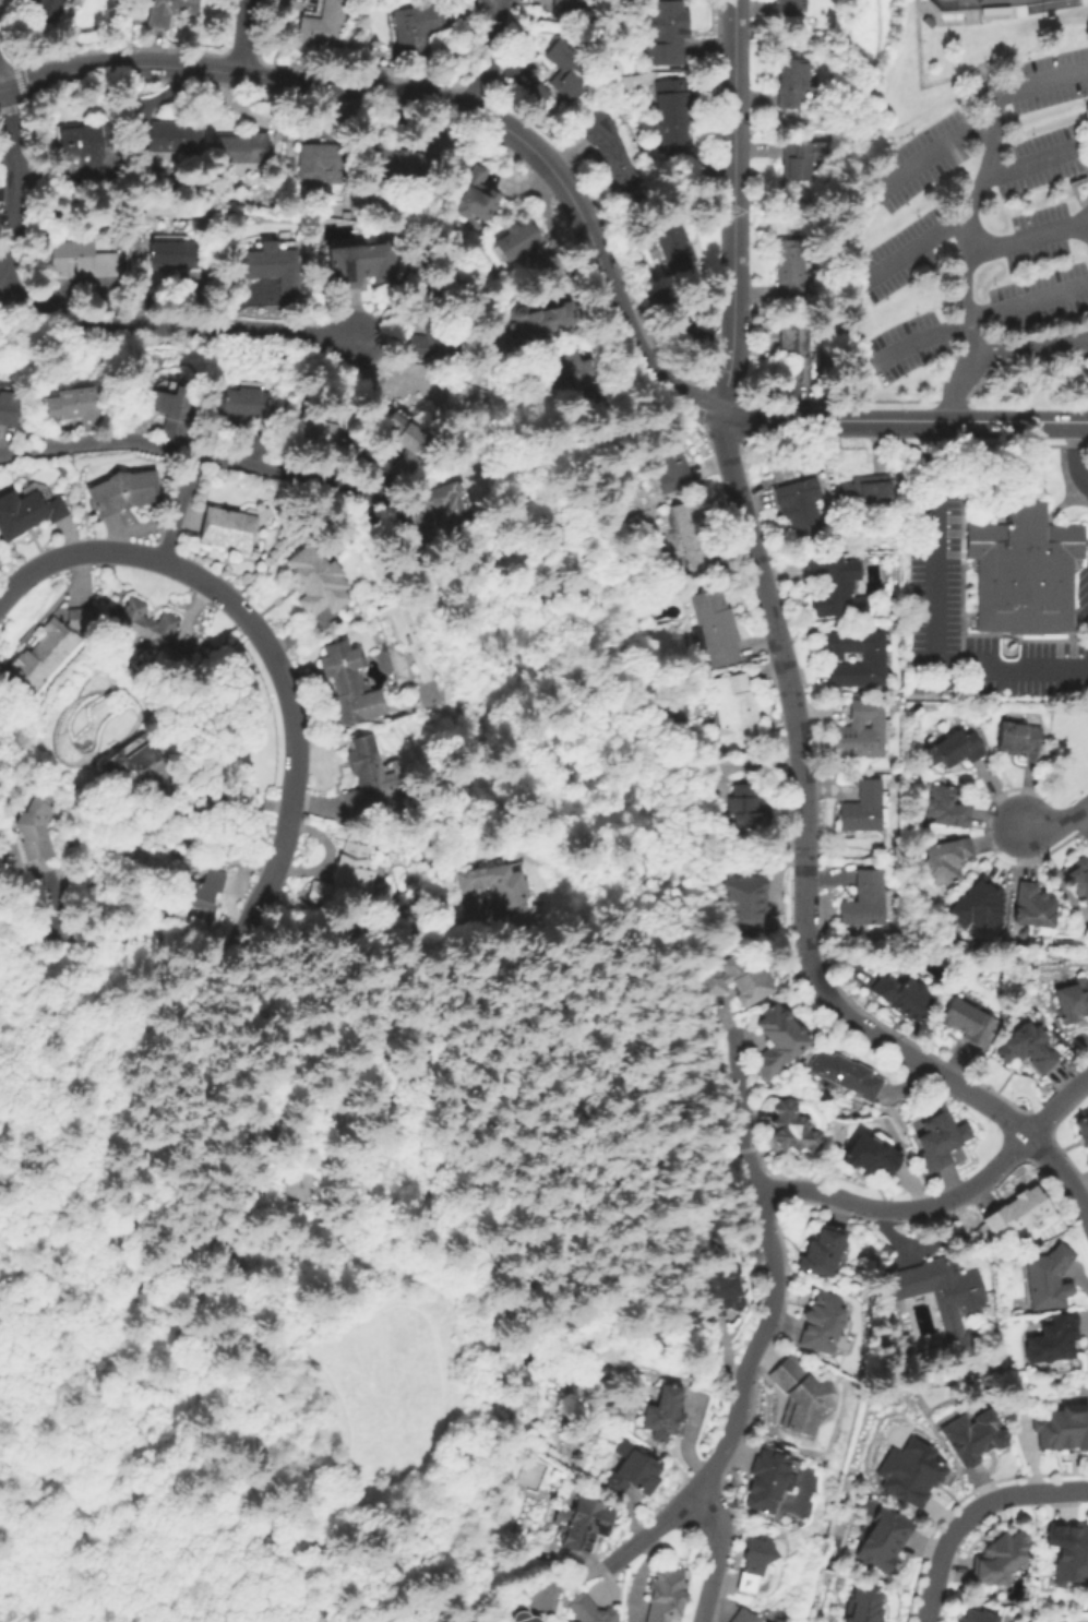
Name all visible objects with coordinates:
building: (571, 2)
park: (983, 3)
building: (51, 8)
building: (788, 8)
building: (170, 11)
building: (997, 12)
building: (325, 24)
building: (417, 26)
building: (670, 33)
road: (239, 36)
road: (486, 56)
building: (569, 71)
building: (794, 82)
road: (1039, 84)
building: (537, 95)
building: (673, 110)
building: (294, 132)
road: (1075, 133)
building: (169, 140)
building: (243, 150)
building: (84, 151)
building: (608, 153)
road: (934, 154)
road: (536, 155)
building: (802, 160)
road: (1031, 160)
building: (322, 163)
building: (404, 166)
road: (20, 182)
road: (1073, 191)
building: (475, 193)
road: (1086, 196)
road: (731, 206)
parking lot: (979, 219)
road: (967, 224)
building: (368, 232)
road: (971, 232)
building: (514, 240)
building: (674, 247)
building: (174, 252)
building: (86, 259)
building: (371, 261)
building: (271, 264)
building: (791, 272)
road: (1086, 285)
building: (266, 295)
building: (666, 300)
road: (976, 317)
building: (540, 320)
road: (190, 324)
building: (437, 339)
road: (994, 349)
building: (796, 350)
road: (1016, 358)
building: (569, 372)
road: (955, 401)
building: (9, 408)
building: (75, 408)
building: (172, 413)
building: (240, 416)
road: (1017, 419)
building: (405, 433)
building: (315, 436)
road: (1076, 450)
road: (210, 462)
building: (406, 463)
building: (671, 466)
building: (123, 492)
building: (865, 493)
building: (799, 504)
road: (177, 508)
building: (27, 513)
building: (443, 517)
building: (228, 529)
building: (692, 534)
building: (1024, 568)
building: (316, 582)
building: (833, 591)
road: (935, 618)
building: (717, 627)
building: (152, 633)
road: (265, 643)
building: (50, 648)
building: (872, 656)
road: (788, 681)
building: (348, 684)
building: (919, 690)
building: (737, 711)
building: (861, 730)
building: (1021, 741)
building: (958, 748)
building: (130, 763)
building: (366, 780)
building: (862, 808)
building: (945, 808)
building: (742, 811)
road: (1056, 824)
building: (37, 825)
building: (948, 859)
building: (344, 878)
building: (1079, 879)
building: (499, 888)
building: (203, 898)
building: (864, 901)
building: (1033, 906)
building: (749, 907)
building: (977, 907)
building: (737, 980)
building: (904, 997)
building: (1073, 1001)
building: (969, 1023)
building: (778, 1040)
building: (1028, 1047)
building: (845, 1075)
road: (954, 1080)
road: (737, 1088)
road: (135, 1093)
road: (1055, 1104)
building: (792, 1129)
building: (1083, 1130)
building: (938, 1141)
building: (871, 1156)
building: (300, 1188)
road: (906, 1205)
building: (1017, 1212)
building: (823, 1252)
park: (321, 1254)
building: (1048, 1279)
building: (720, 1290)
road: (117, 1299)
building: (944, 1299)
road: (268, 1310)
building: (821, 1323)
road: (763, 1326)
building: (1053, 1340)
road: (434, 1365)
building: (799, 1396)
building: (663, 1414)
building: (1064, 1432)
building: (975, 1439)
building: (631, 1470)
building: (911, 1471)
building: (766, 1480)
road: (967, 1510)
building: (586, 1524)
road: (649, 1531)
building: (885, 1541)
road: (714, 1555)
building: (1069, 1555)
building: (999, 1561)
building: (754, 1562)
building: (668, 1597)
building: (864, 1607)
road: (45, 1609)
building: (589, 1610)
building: (522, 1613)
building: (743, 1615)
building: (976, 1619)
building: (569, 1621)

